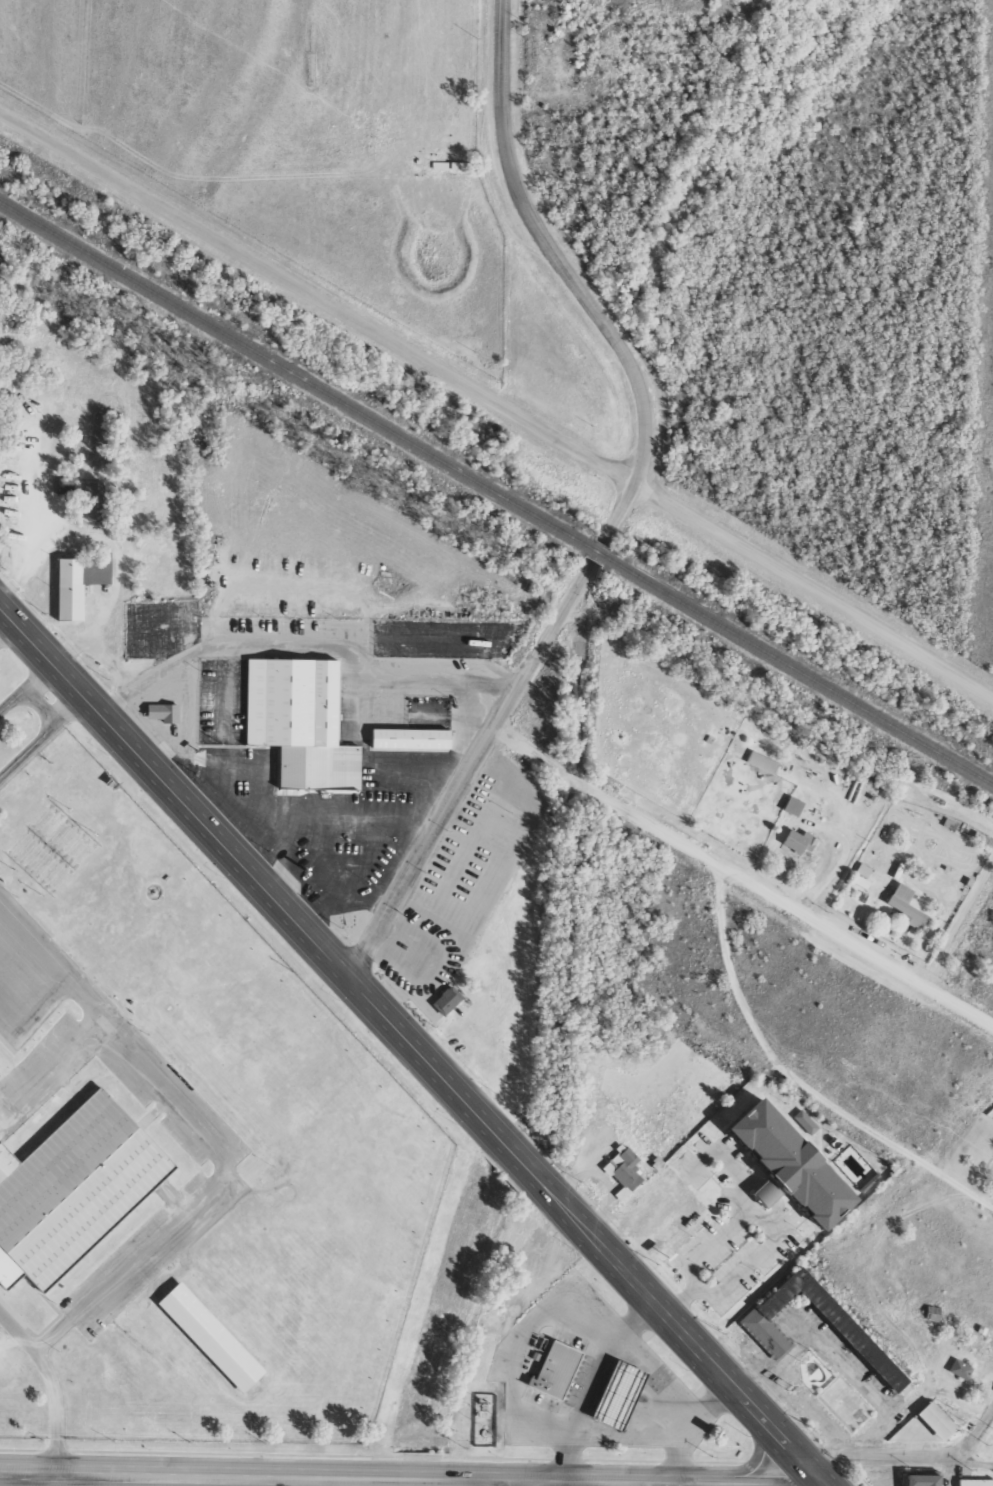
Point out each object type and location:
road: (317, 294)
railway: (494, 496)
building: (97, 501)
road: (624, 503)
building: (75, 582)
road: (815, 585)
road: (28, 692)
building: (167, 712)
building: (296, 729)
building: (403, 747)
building: (765, 762)
building: (796, 806)
building: (803, 841)
building: (865, 870)
road: (742, 876)
building: (909, 906)
road: (731, 981)
building: (449, 1000)
road: (415, 1044)
road: (892, 1137)
building: (624, 1172)
building: (784, 1177)
building: (70, 1185)
building: (762, 1336)
building: (207, 1343)
building: (964, 1367)
building: (550, 1377)
road: (53, 1381)
building: (613, 1400)
gas station: (613, 1400)
building: (941, 1419)
road: (911, 1456)
road: (735, 1470)
road: (331, 1478)
building: (928, 1479)
building: (977, 1481)
road: (499, 1484)

